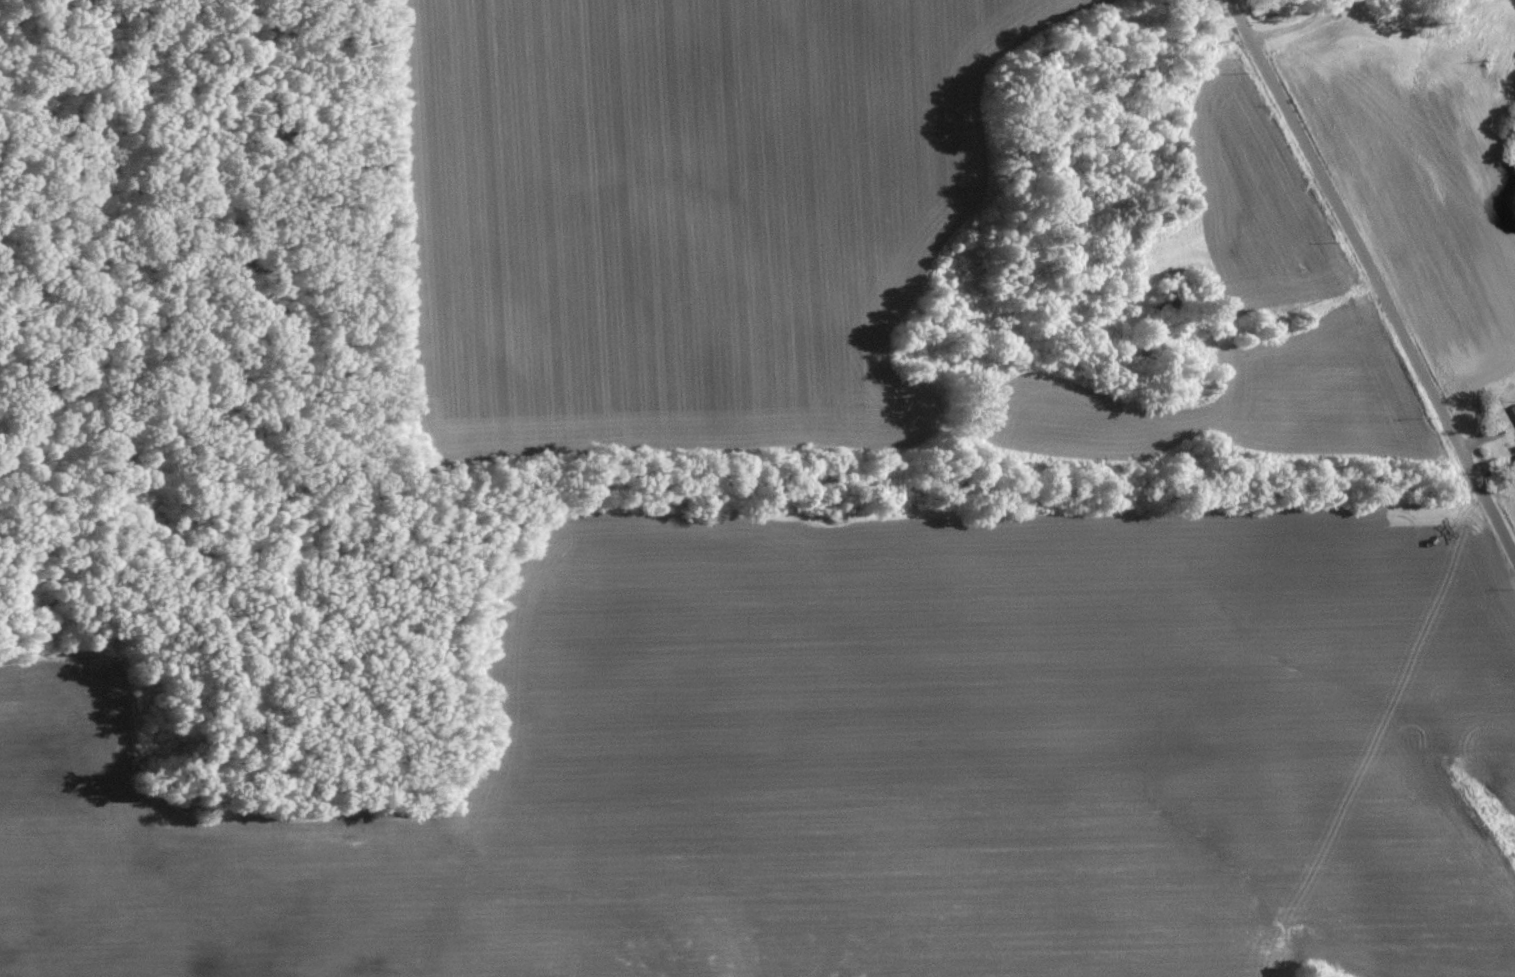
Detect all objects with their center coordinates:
road: (1374, 273)

